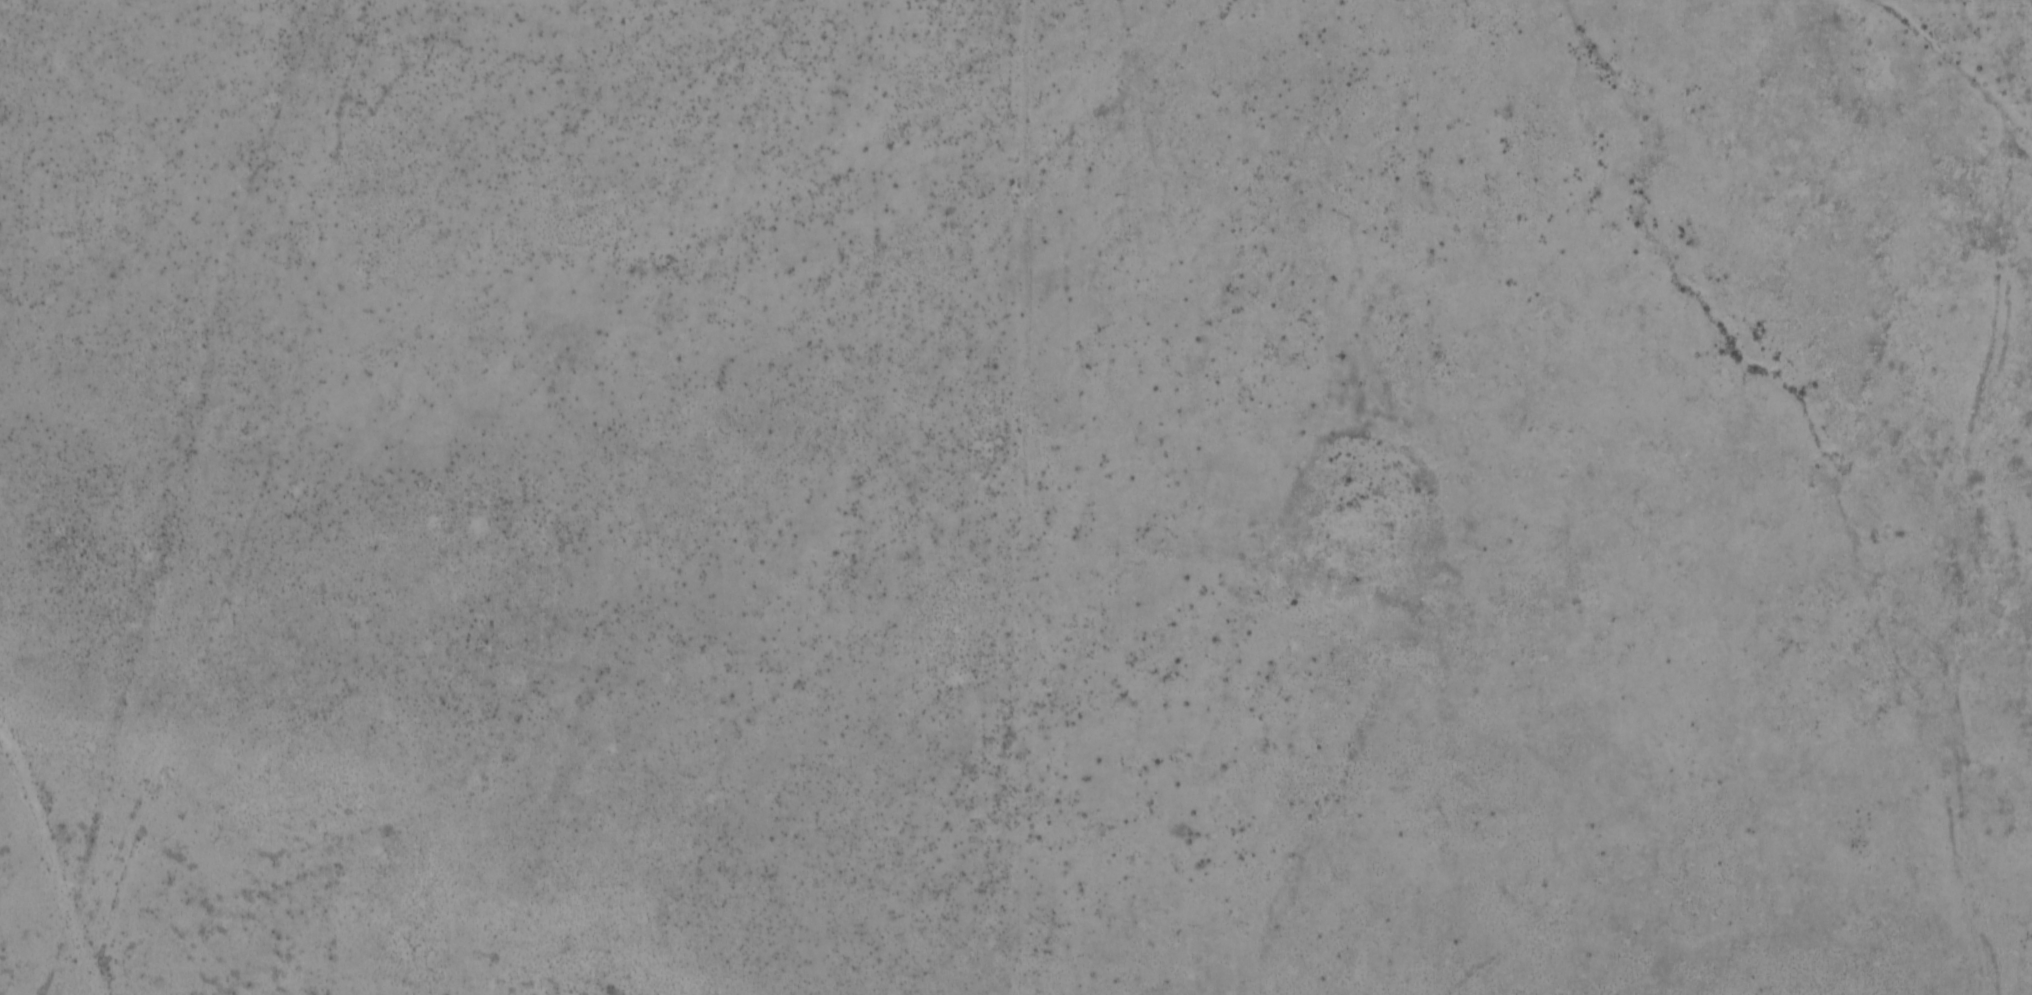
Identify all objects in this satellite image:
road: (54, 862)

